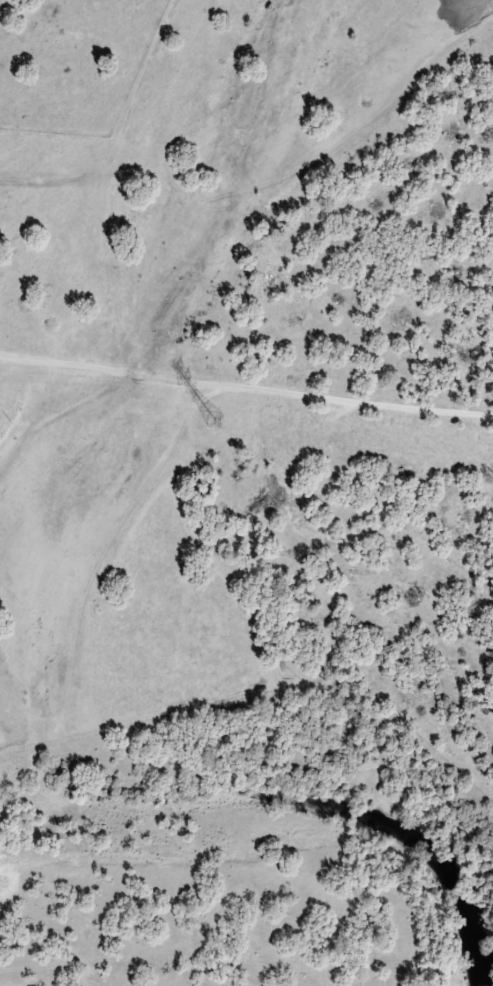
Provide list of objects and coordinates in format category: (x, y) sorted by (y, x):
power tower: (215, 427)

